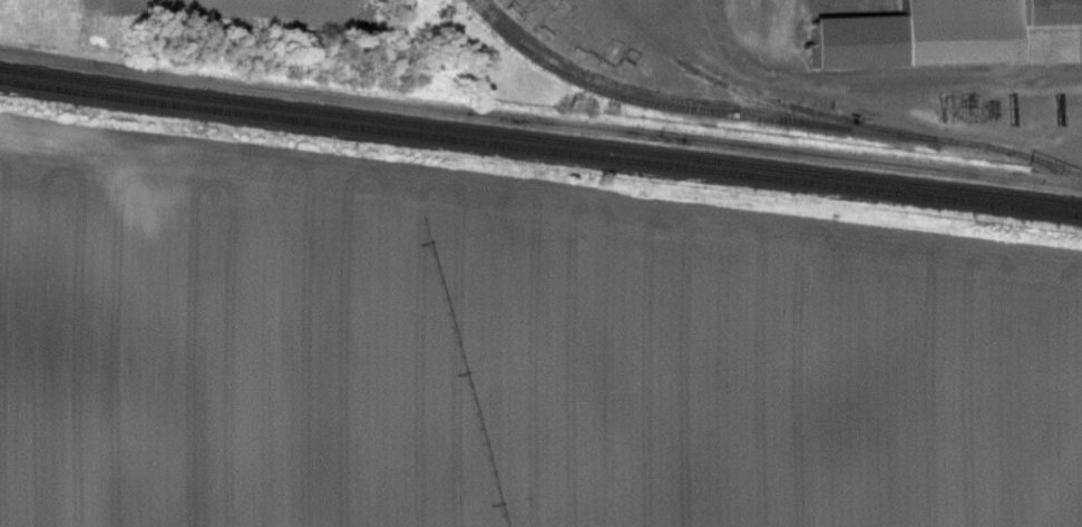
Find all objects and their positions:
building: (939, 32)
railway: (763, 121)
road: (539, 125)
railway: (540, 137)
railway: (540, 150)

